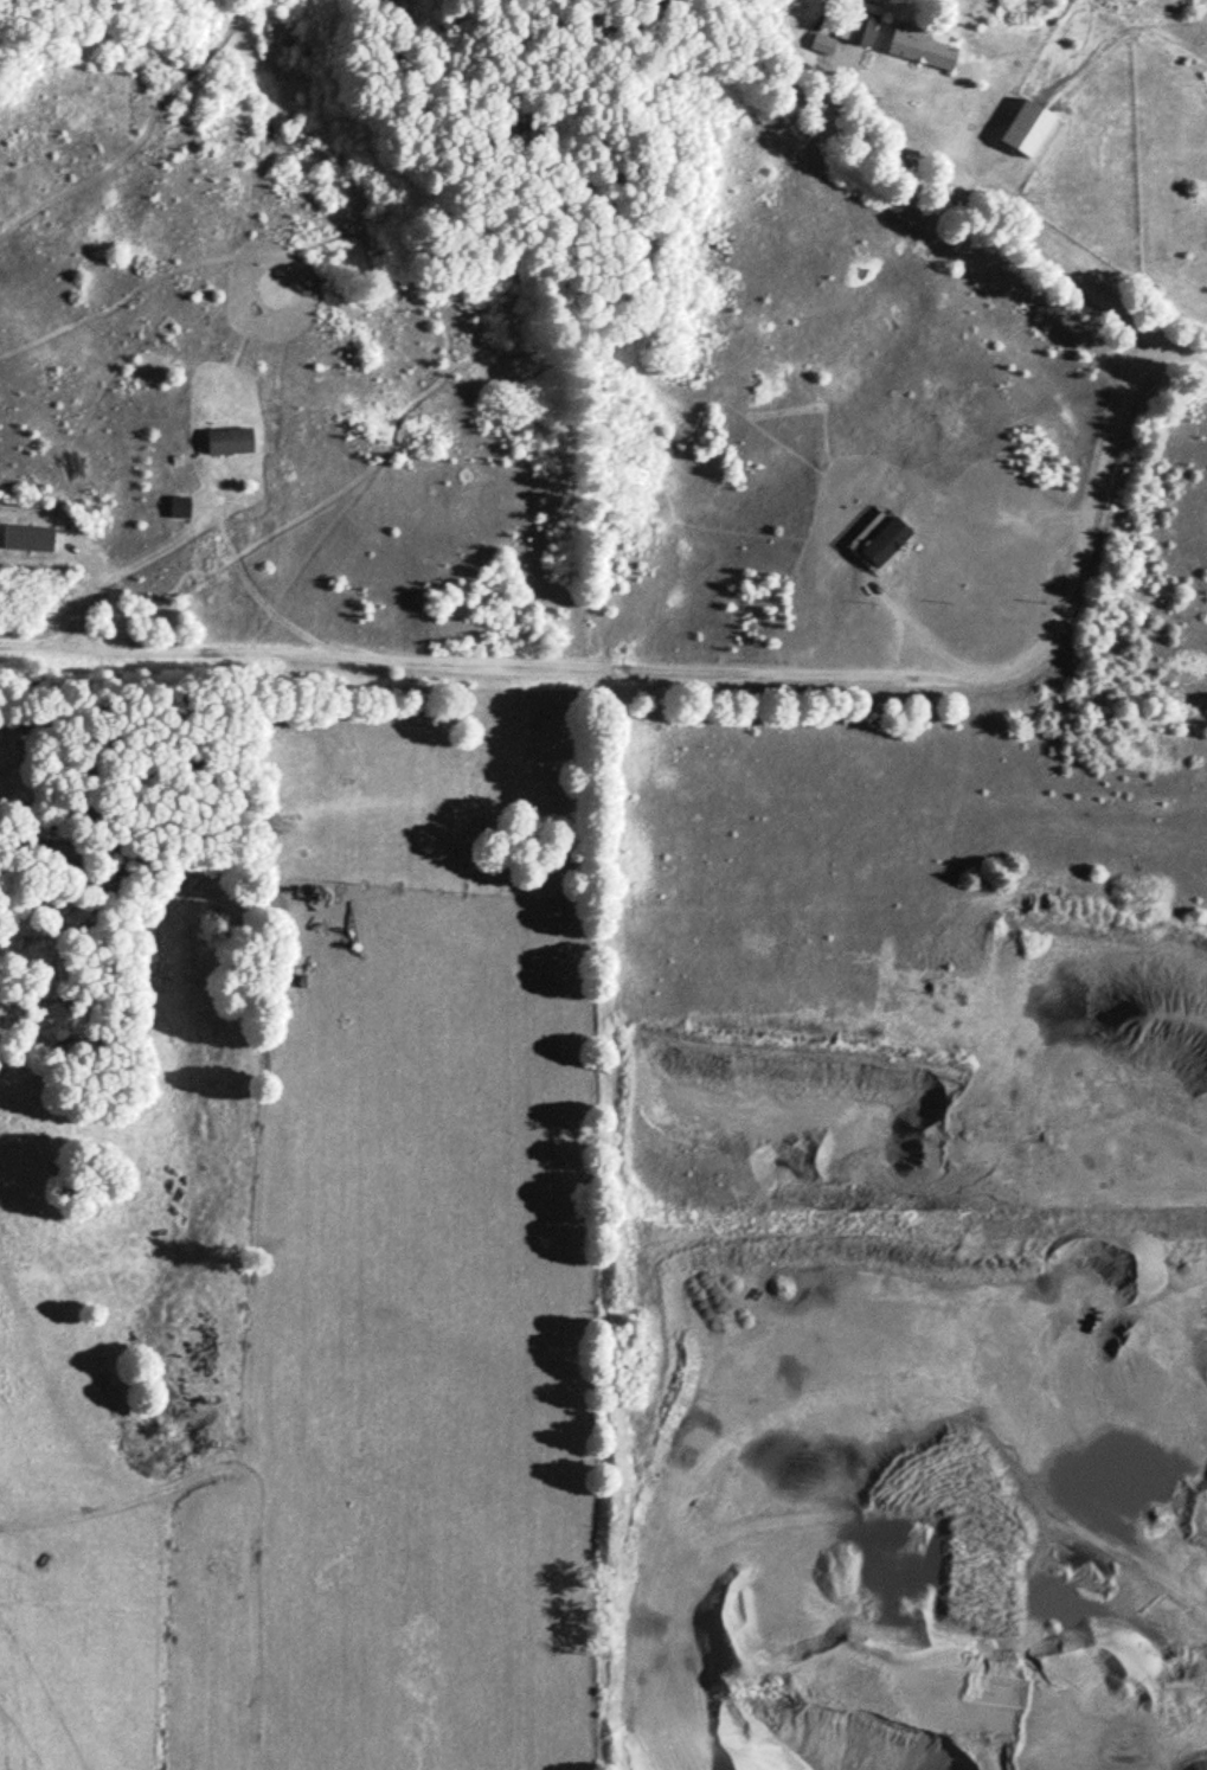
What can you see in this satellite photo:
building: (855, 23)
building: (919, 46)
building: (1188, 66)
road: (905, 168)
road: (1175, 348)
building: (938, 390)
building: (231, 440)
road: (1079, 530)
building: (885, 539)
road: (923, 636)
road: (529, 663)
quarry: (927, 1439)

